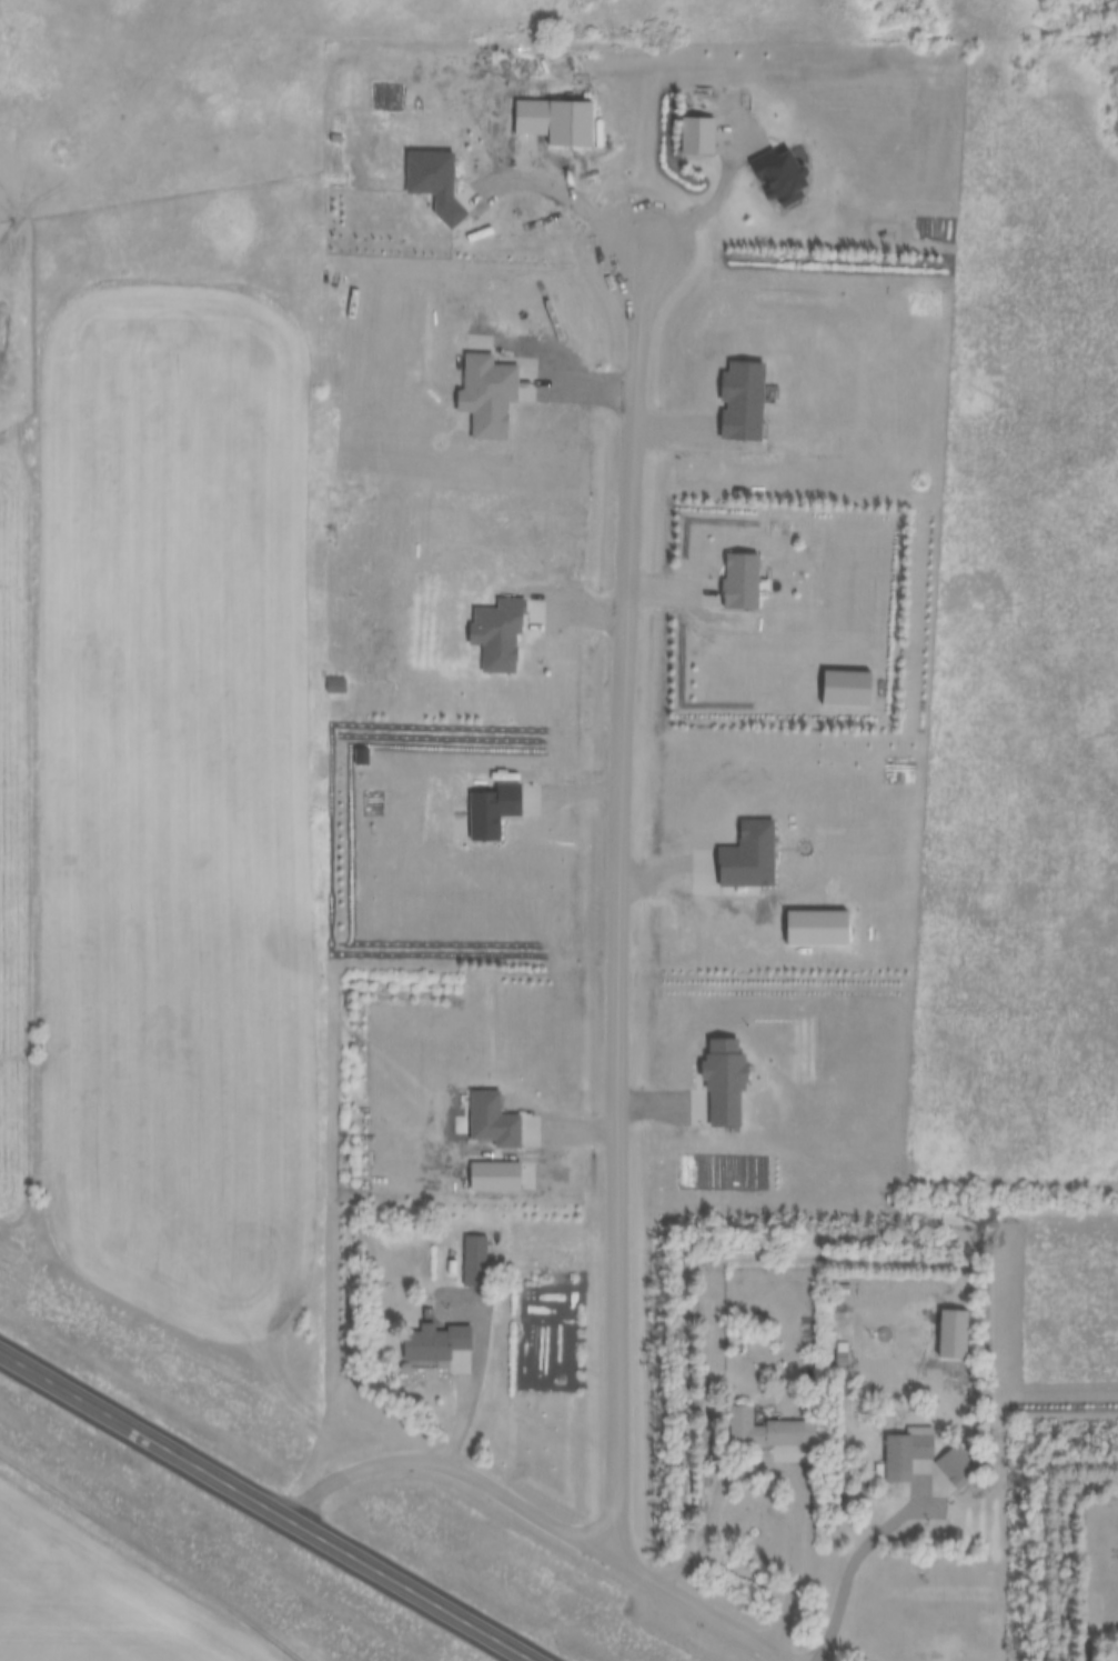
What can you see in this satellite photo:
road: (614, 895)
building: (434, 1342)
building: (762, 1431)
building: (907, 1449)
building: (951, 1463)
road: (773, 1467)
road: (270, 1504)
road: (545, 1513)
road: (858, 1552)

